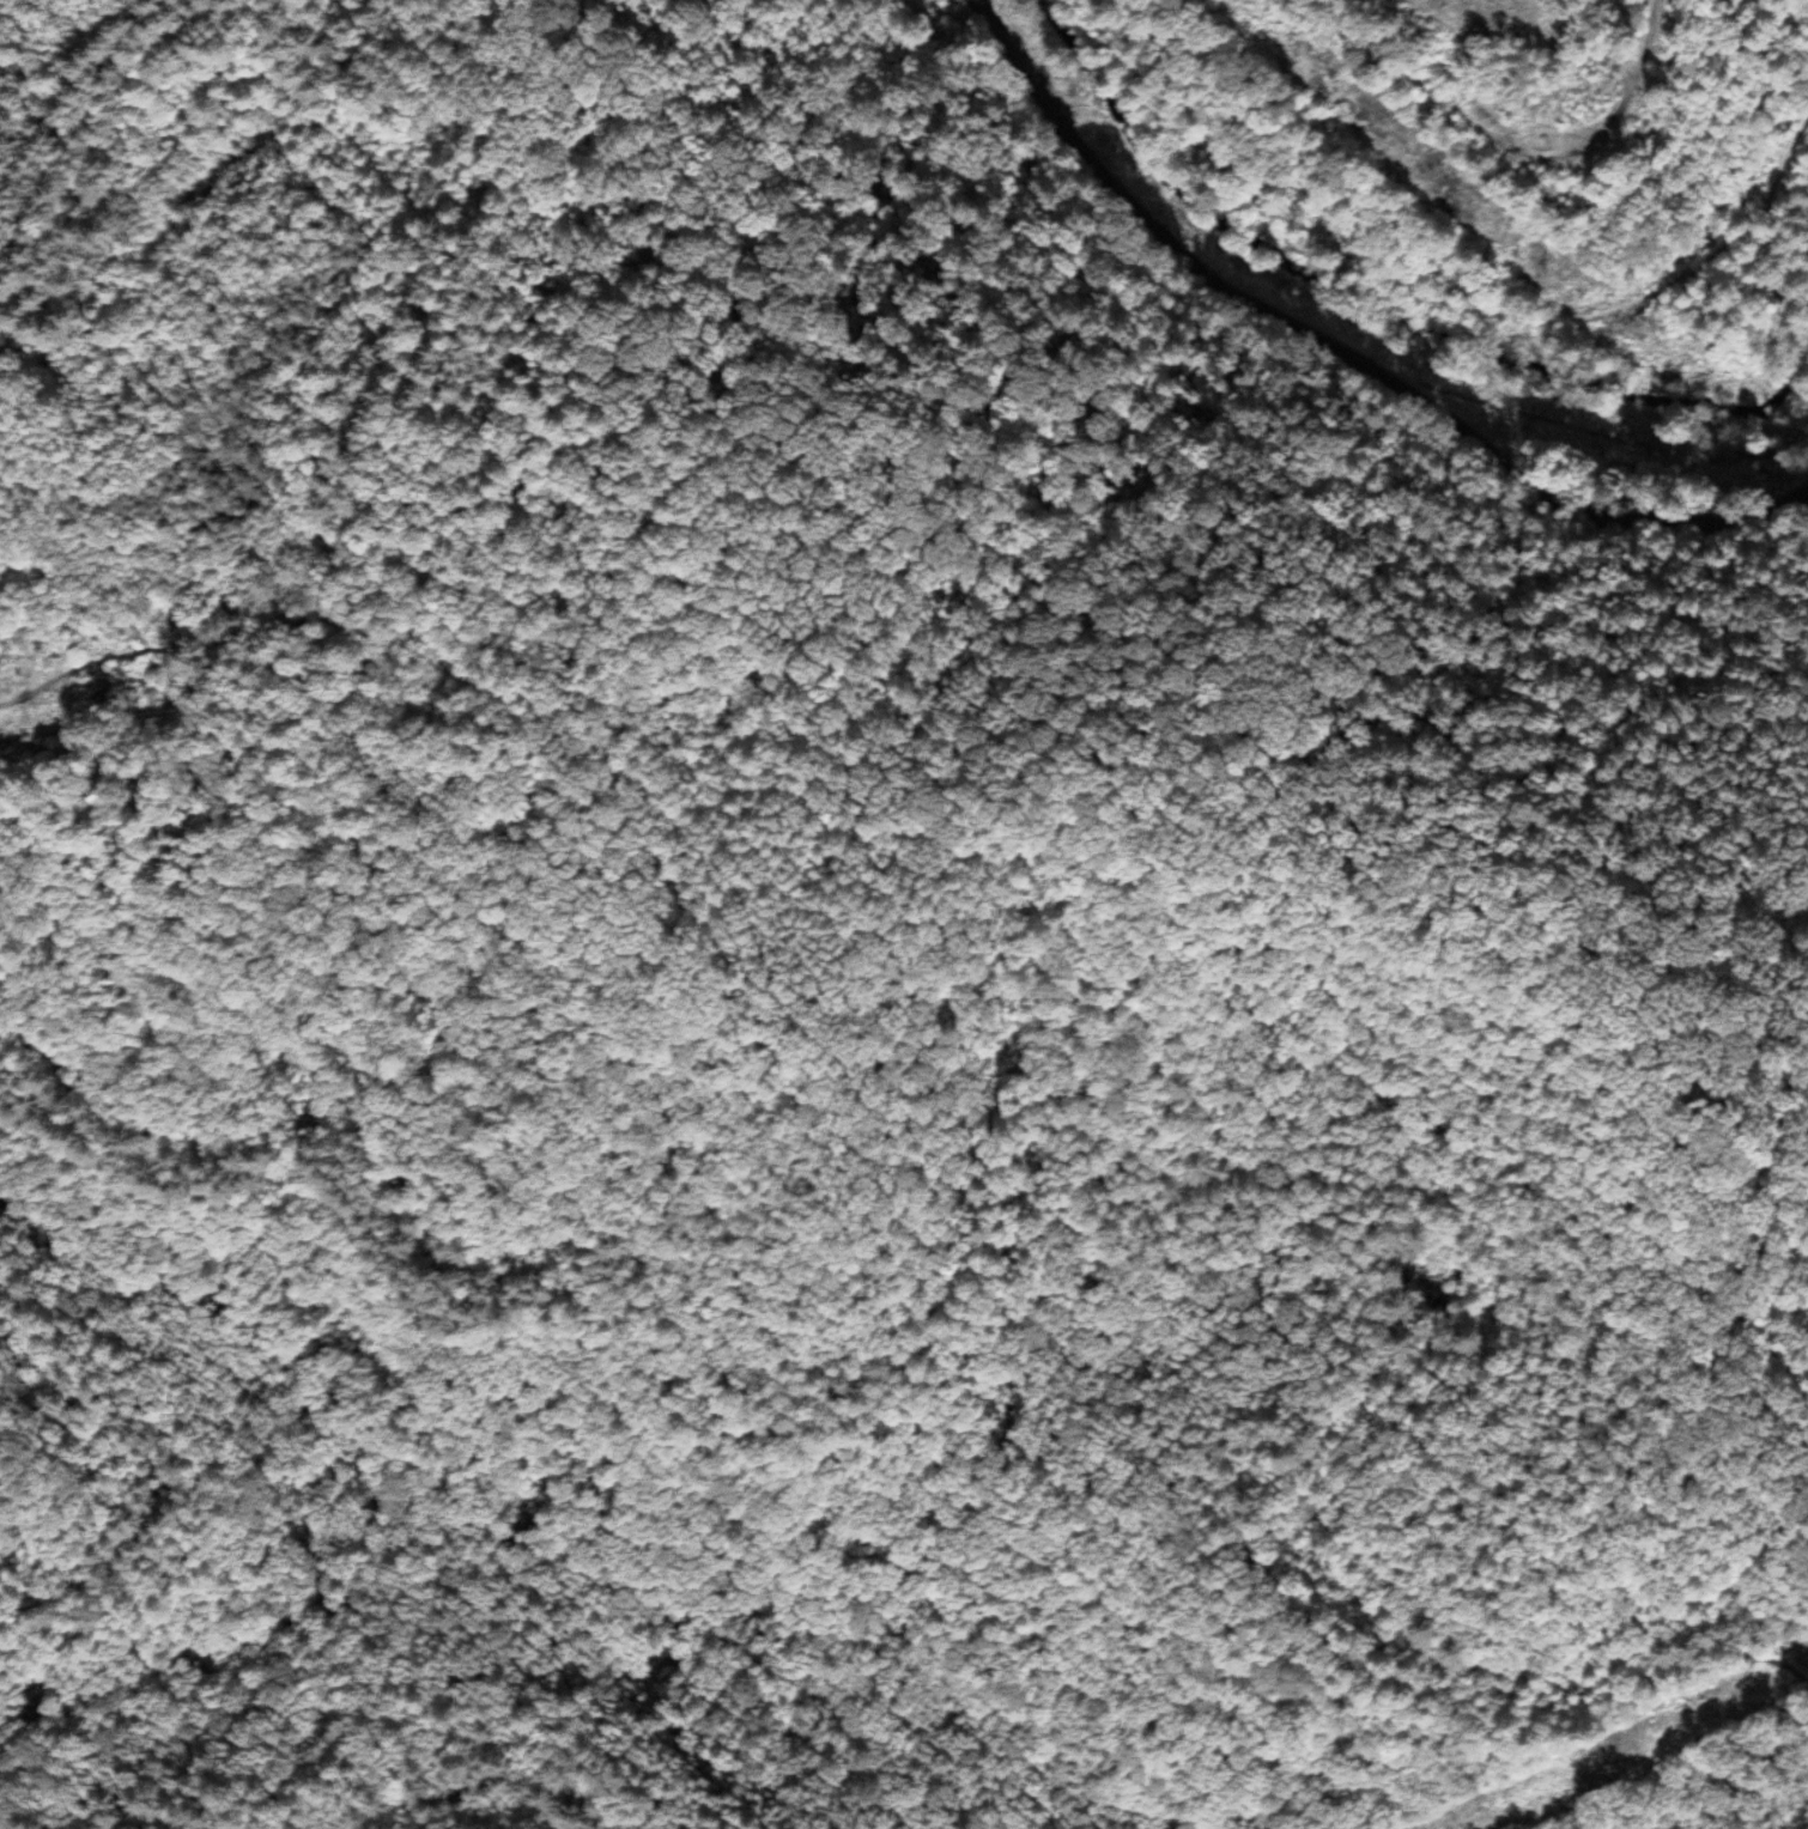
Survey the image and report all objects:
road: (1345, 354)

